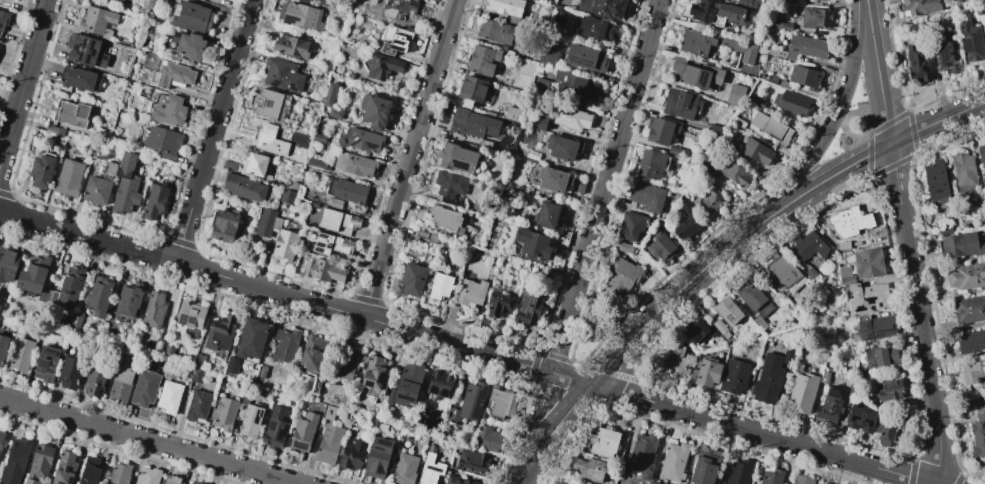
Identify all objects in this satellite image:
building: (119, 0)
building: (125, 0)
road: (864, 0)
building: (770, 1)
building: (919, 6)
building: (399, 8)
building: (506, 8)
building: (603, 8)
building: (701, 10)
building: (300, 15)
building: (730, 15)
building: (194, 17)
building: (815, 17)
building: (3, 21)
building: (99, 23)
building: (596, 28)
building: (495, 31)
building: (398, 42)
building: (702, 42)
building: (971, 43)
building: (191, 45)
building: (291, 46)
building: (805, 47)
building: (745, 51)
building: (92, 52)
building: (776, 52)
building: (947, 53)
building: (547, 56)
building: (585, 57)
rooftop solar panel: (944, 58)
building: (482, 60)
rooftop solar panel: (576, 61)
rooftop solar panel: (581, 61)
rooftop solar panel: (586, 64)
building: (918, 64)
building: (382, 68)
road: (876, 73)
building: (696, 74)
building: (172, 75)
building: (282, 75)
building: (804, 77)
building: (82, 78)
road: (22, 79)
rooftop solar panel: (701, 79)
building: (782, 84)
building: (575, 85)
building: (471, 90)
building: (330, 95)
building: (734, 95)
building: (756, 100)
building: (680, 103)
building: (791, 103)
building: (269, 104)
rooftop solar panel: (269, 104)
building: (171, 111)
building: (375, 112)
building: (72, 114)
building: (513, 114)
road: (832, 117)
road: (839, 117)
building: (571, 118)
road: (936, 121)
building: (538, 122)
building: (472, 123)
building: (739, 123)
park: (851, 123)
building: (771, 127)
building: (714, 129)
building: (660, 130)
road: (212, 131)
road: (865, 135)
road: (869, 135)
building: (270, 141)
building: (361, 141)
building: (163, 143)
building: (485, 143)
building: (562, 147)
road: (843, 147)
building: (754, 150)
building: (676, 152)
building: (981, 157)
road: (408, 158)
building: (457, 158)
building: (653, 163)
building: (126, 165)
building: (229, 165)
building: (256, 165)
building: (356, 165)
rooftop solar panel: (460, 165)
building: (110, 170)
building: (42, 172)
building: (736, 173)
building: (963, 173)
building: (70, 176)
road: (825, 178)
building: (552, 179)
building: (935, 182)
building: (449, 184)
road: (604, 186)
building: (244, 187)
building: (98, 190)
building: (348, 192)
building: (127, 196)
building: (287, 196)
building: (647, 197)
building: (156, 201)
building: (709, 201)
building: (546, 215)
building: (447, 219)
building: (687, 220)
building: (850, 221)
building: (337, 222)
building: (276, 223)
building: (630, 225)
building: (224, 226)
road: (87, 236)
rooftop solar panel: (323, 236)
building: (427, 236)
building: (332, 245)
building: (531, 245)
building: (960, 245)
building: (285, 246)
rooftop solar panel: (323, 246)
building: (660, 246)
building: (808, 246)
building: (624, 247)
rooftop solar panel: (322, 248)
rooftop solar panel: (319, 251)
building: (867, 263)
building: (8, 265)
building: (325, 271)
building: (784, 272)
building: (34, 275)
building: (845, 275)
building: (620, 276)
building: (813, 276)
building: (966, 276)
building: (413, 279)
building: (70, 287)
building: (439, 287)
building: (470, 293)
building: (869, 295)
road: (672, 296)
building: (100, 297)
building: (129, 301)
building: (754, 303)
building: (498, 304)
building: (527, 306)
building: (969, 309)
building: (154, 310)
building: (450, 311)
building: (727, 311)
road: (607, 313)
road: (918, 314)
building: (191, 315)
road: (361, 317)
rooftop solar panel: (729, 318)
building: (64, 319)
building: (77, 319)
rooftop solar panel: (183, 320)
rooftop solar panel: (192, 322)
building: (874, 326)
park: (594, 327)
building: (720, 328)
building: (699, 332)
building: (221, 333)
rooftop solar panel: (880, 333)
rooftop solar panel: (870, 339)
building: (251, 341)
building: (970, 341)
building: (155, 344)
building: (285, 345)
building: (3, 349)
building: (168, 350)
rooftop solar panel: (50, 353)
building: (312, 354)
building: (23, 356)
building: (881, 356)
building: (787, 357)
building: (198, 359)
rooftop solar panel: (49, 360)
building: (676, 361)
building: (347, 362)
building: (47, 364)
building: (231, 364)
rooftop solar panel: (46, 367)
building: (71, 370)
building: (261, 371)
building: (973, 371)
building: (708, 372)
building: (197, 374)
building: (374, 374)
road: (569, 377)
building: (734, 377)
building: (824, 377)
building: (97, 378)
rooftop solar panel: (381, 380)
building: (767, 380)
building: (440, 383)
building: (121, 384)
rooftop solar panel: (370, 385)
building: (406, 385)
building: (146, 388)
building: (890, 390)
building: (801, 393)
building: (170, 397)
building: (338, 400)
building: (500, 402)
building: (468, 403)
building: (829, 405)
building: (199, 406)
building: (329, 412)
building: (224, 414)
road: (533, 414)
building: (861, 418)
rooftop solar panel: (256, 419)
road: (559, 421)
building: (251, 422)
building: (373, 422)
rooftop solar panel: (272, 427)
building: (889, 427)
building: (275, 428)
building: (382, 428)
building: (304, 432)
rooftop solar panel: (282, 433)
building: (978, 433)
road: (760, 434)
building: (489, 439)
building: (2, 440)
road: (147, 441)
building: (603, 441)
building: (329, 444)
rooftop solar panel: (384, 444)
rooftop solar panel: (380, 451)
building: (642, 454)
building: (353, 455)
building: (379, 459)
building: (16, 461)
building: (42, 461)
building: (673, 461)
building: (473, 462)
building: (588, 468)
building: (704, 468)
building: (66, 469)
building: (405, 469)
building: (431, 470)
building: (91, 471)
rooftop solar panel: (380, 471)
road: (522, 472)
building: (738, 472)
building: (120, 474)
building: (150, 476)
building: (771, 477)
building: (171, 480)
building: (457, 480)
building: (802, 480)
building: (32, 481)
rooftop solar panel: (71, 481)
building: (652, 482)
building: (194, 483)
building: (825, 483)

